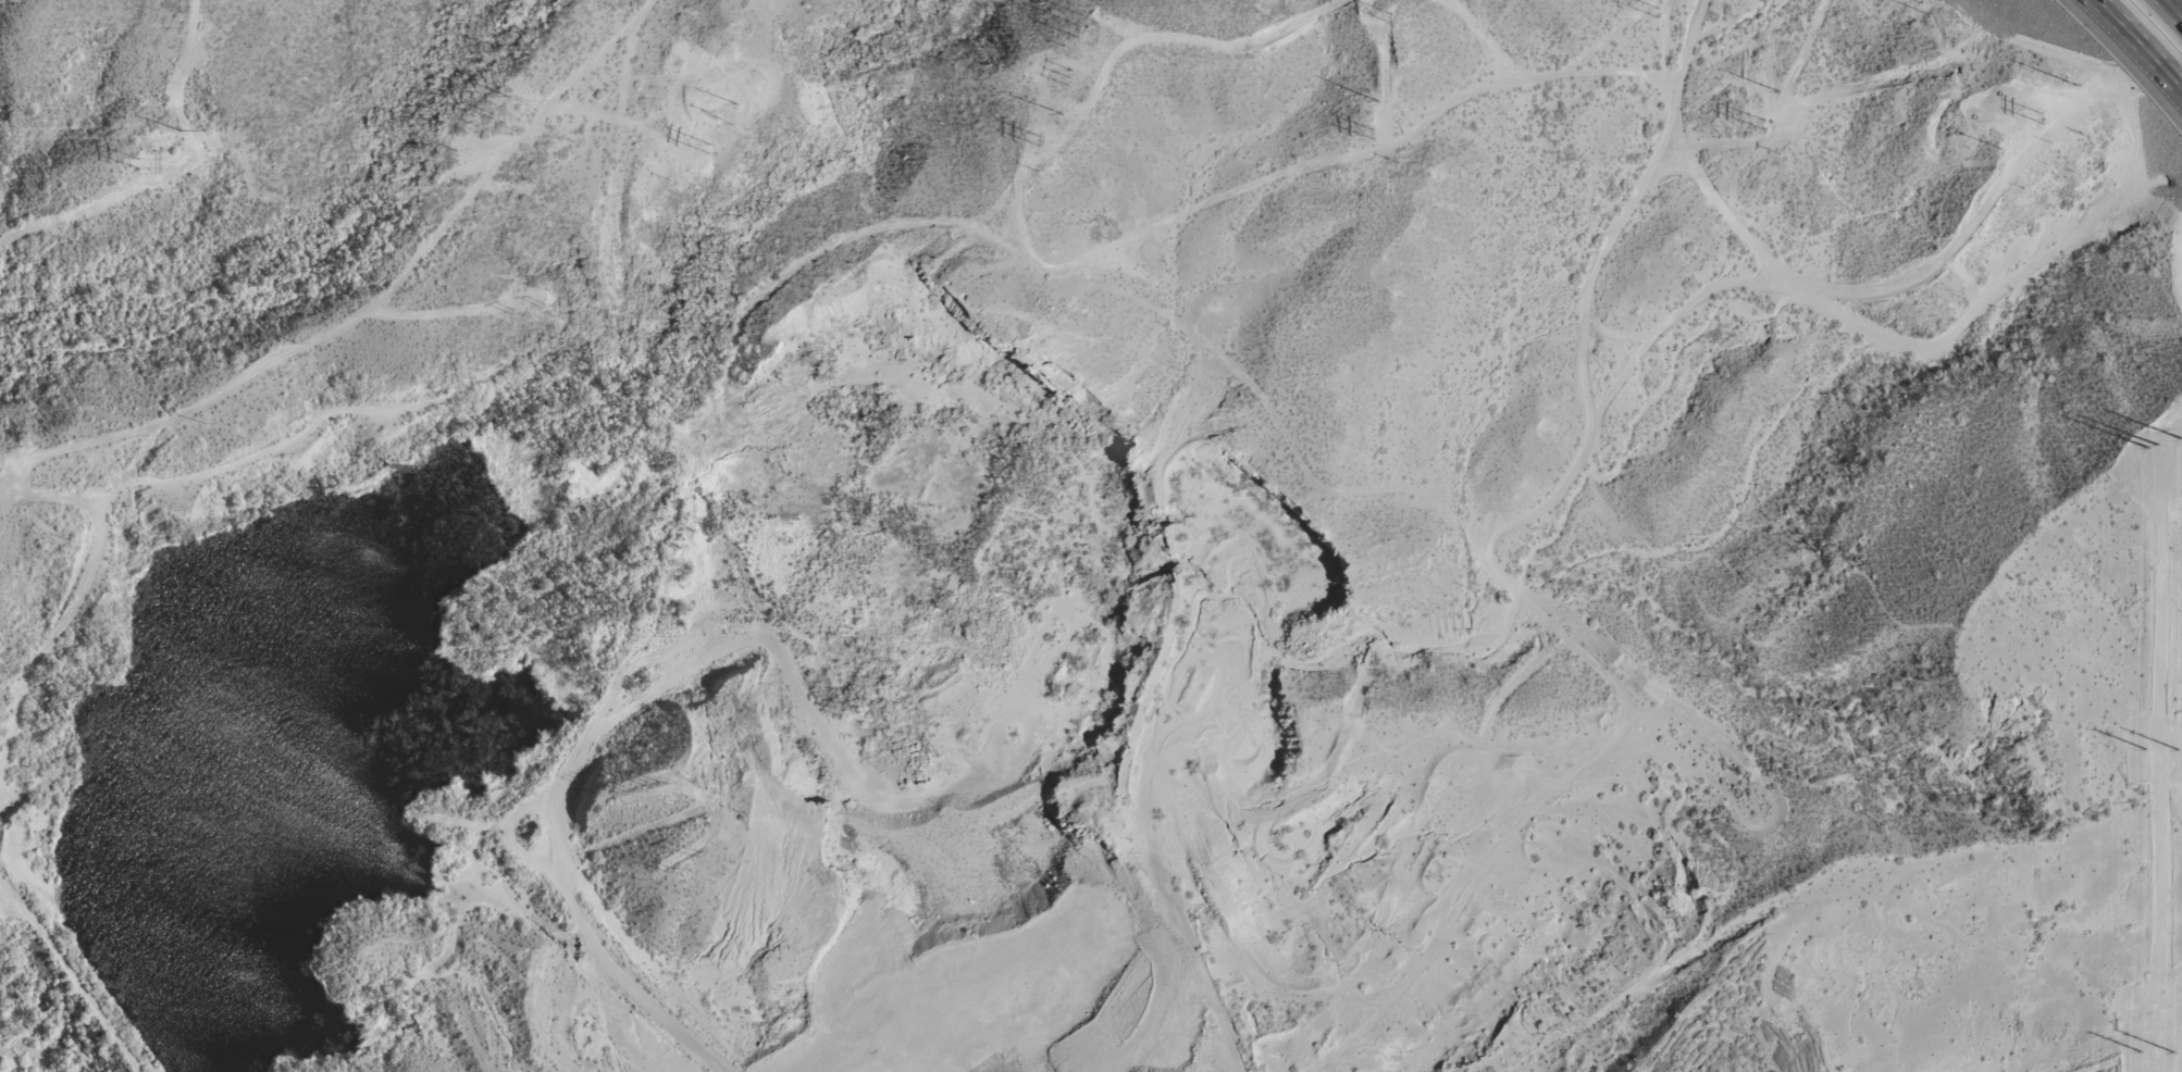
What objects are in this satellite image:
road: (2171, 10)
road: (2147, 35)
power tower: (1377, 100)
power tower: (1057, 109)
power tower: (468, 112)
power tower: (1764, 123)
power tower: (179, 127)
power tower: (1372, 129)
power tower: (1040, 138)
power tower: (709, 145)
power tower: (455, 151)
power tower: (137, 162)
dam: (74, 967)
dam: (74, 993)

